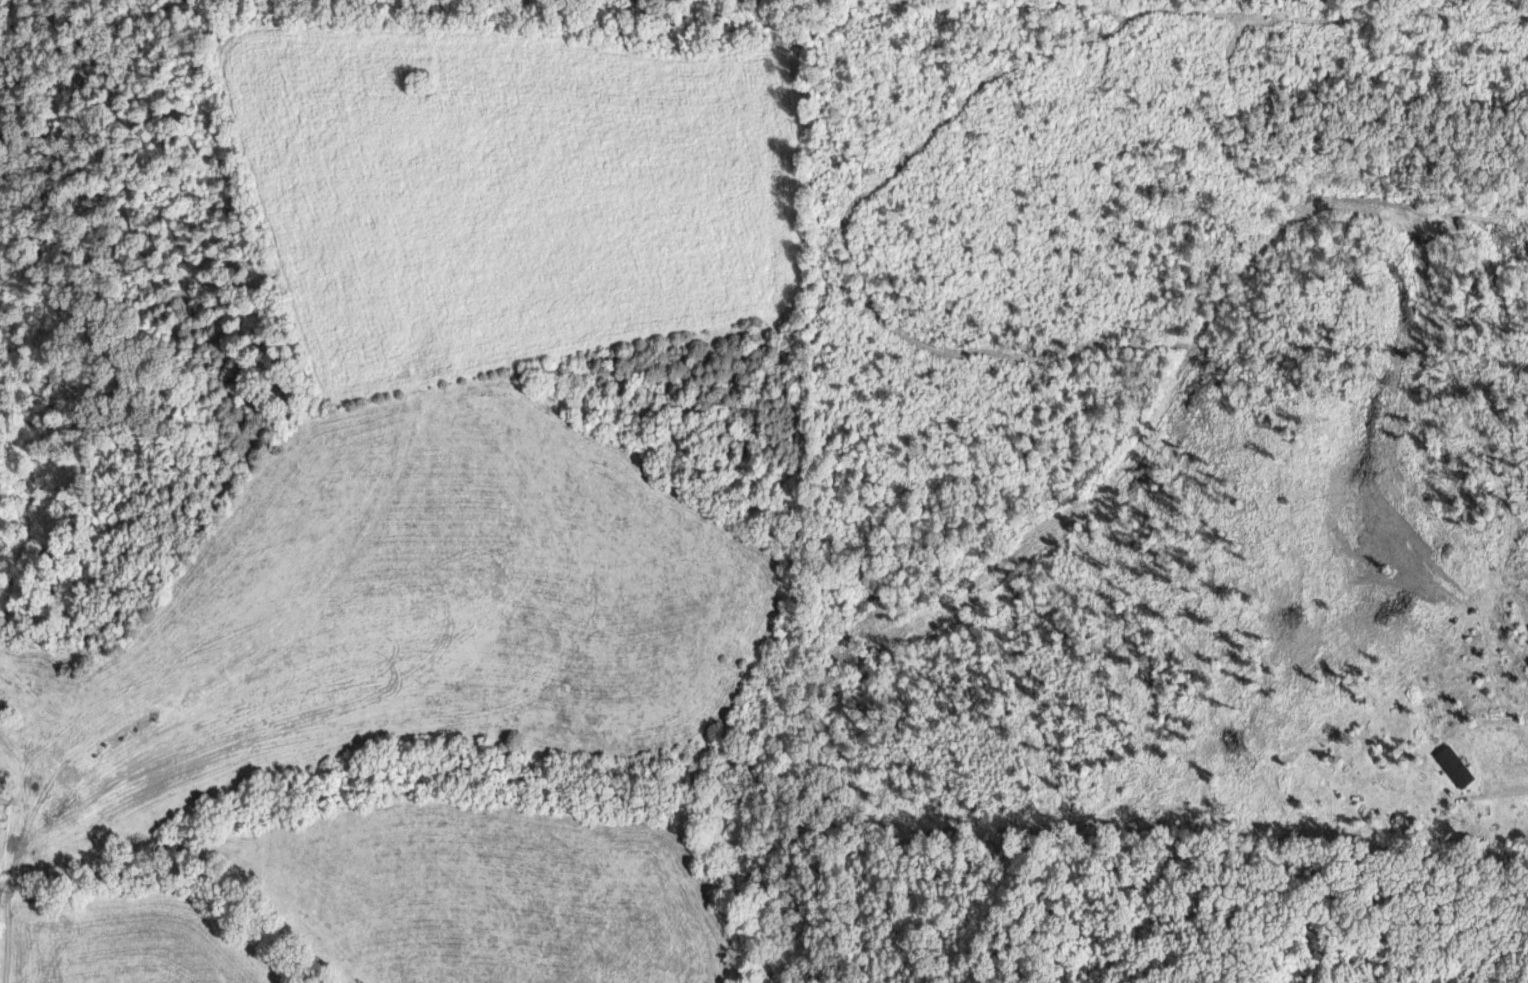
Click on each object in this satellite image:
building: (1453, 767)
road: (1501, 796)

